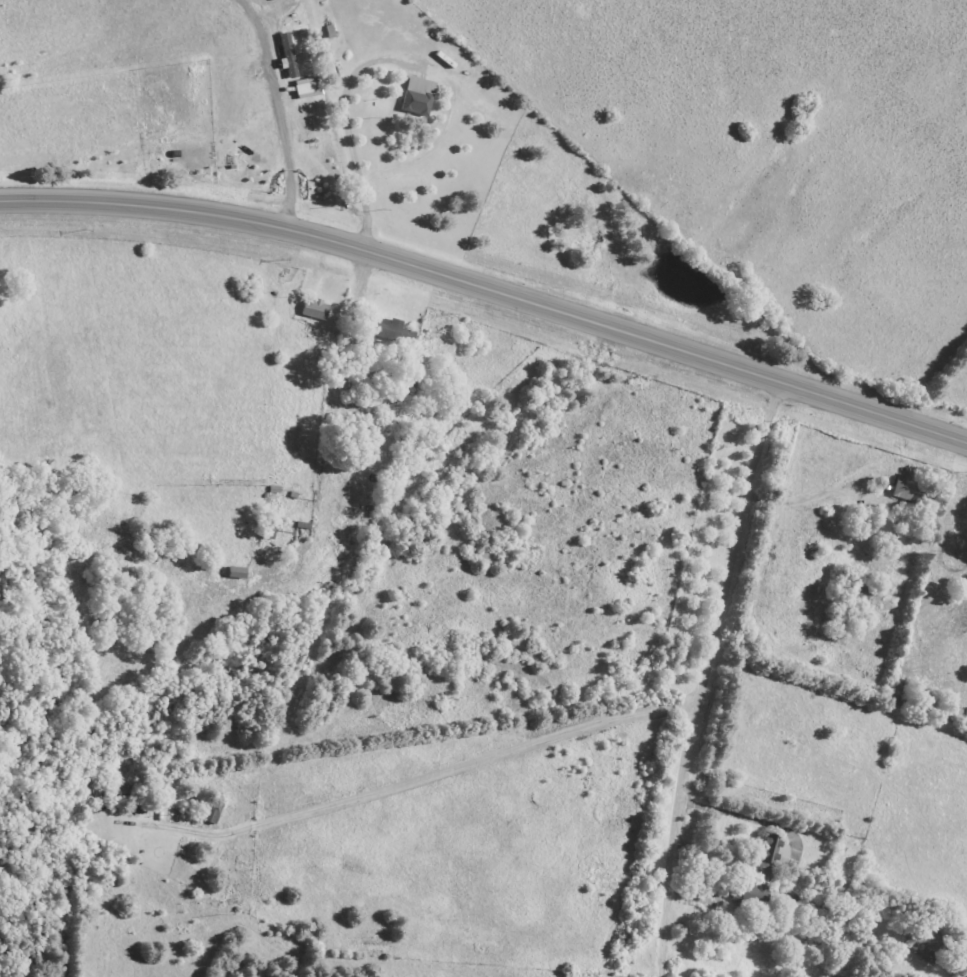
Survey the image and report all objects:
building: (289, 57)
building: (308, 88)
building: (419, 96)
road: (341, 125)
road: (280, 157)
road: (489, 289)
building: (316, 309)
building: (391, 328)
building: (914, 493)
road: (810, 495)
road: (700, 676)
building: (774, 851)
building: (931, 939)

